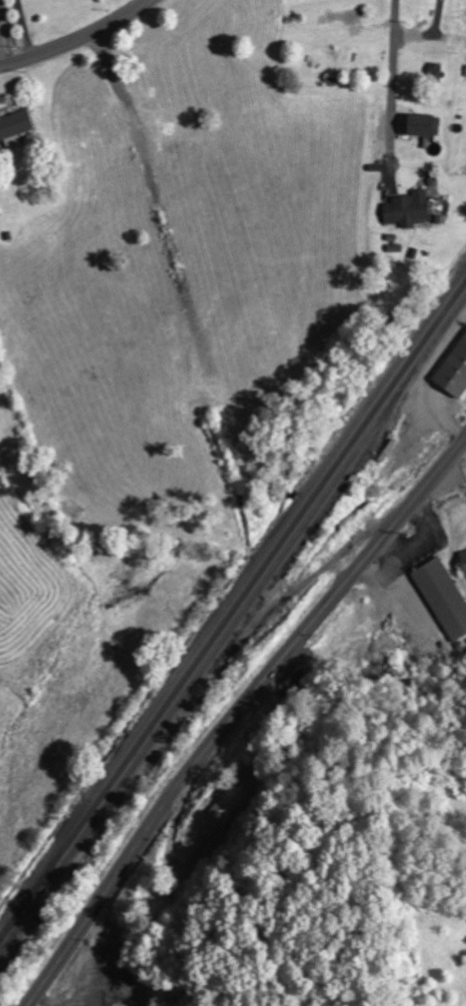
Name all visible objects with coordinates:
building: (342, 16)
road: (78, 39)
road: (1, 54)
building: (437, 72)
road: (391, 76)
building: (426, 126)
building: (15, 128)
building: (409, 209)
building: (456, 376)
railway: (308, 536)
building: (464, 557)
railway: (245, 578)
building: (444, 596)
railway: (234, 613)
railway: (233, 629)
road: (236, 714)
building: (228, 805)

